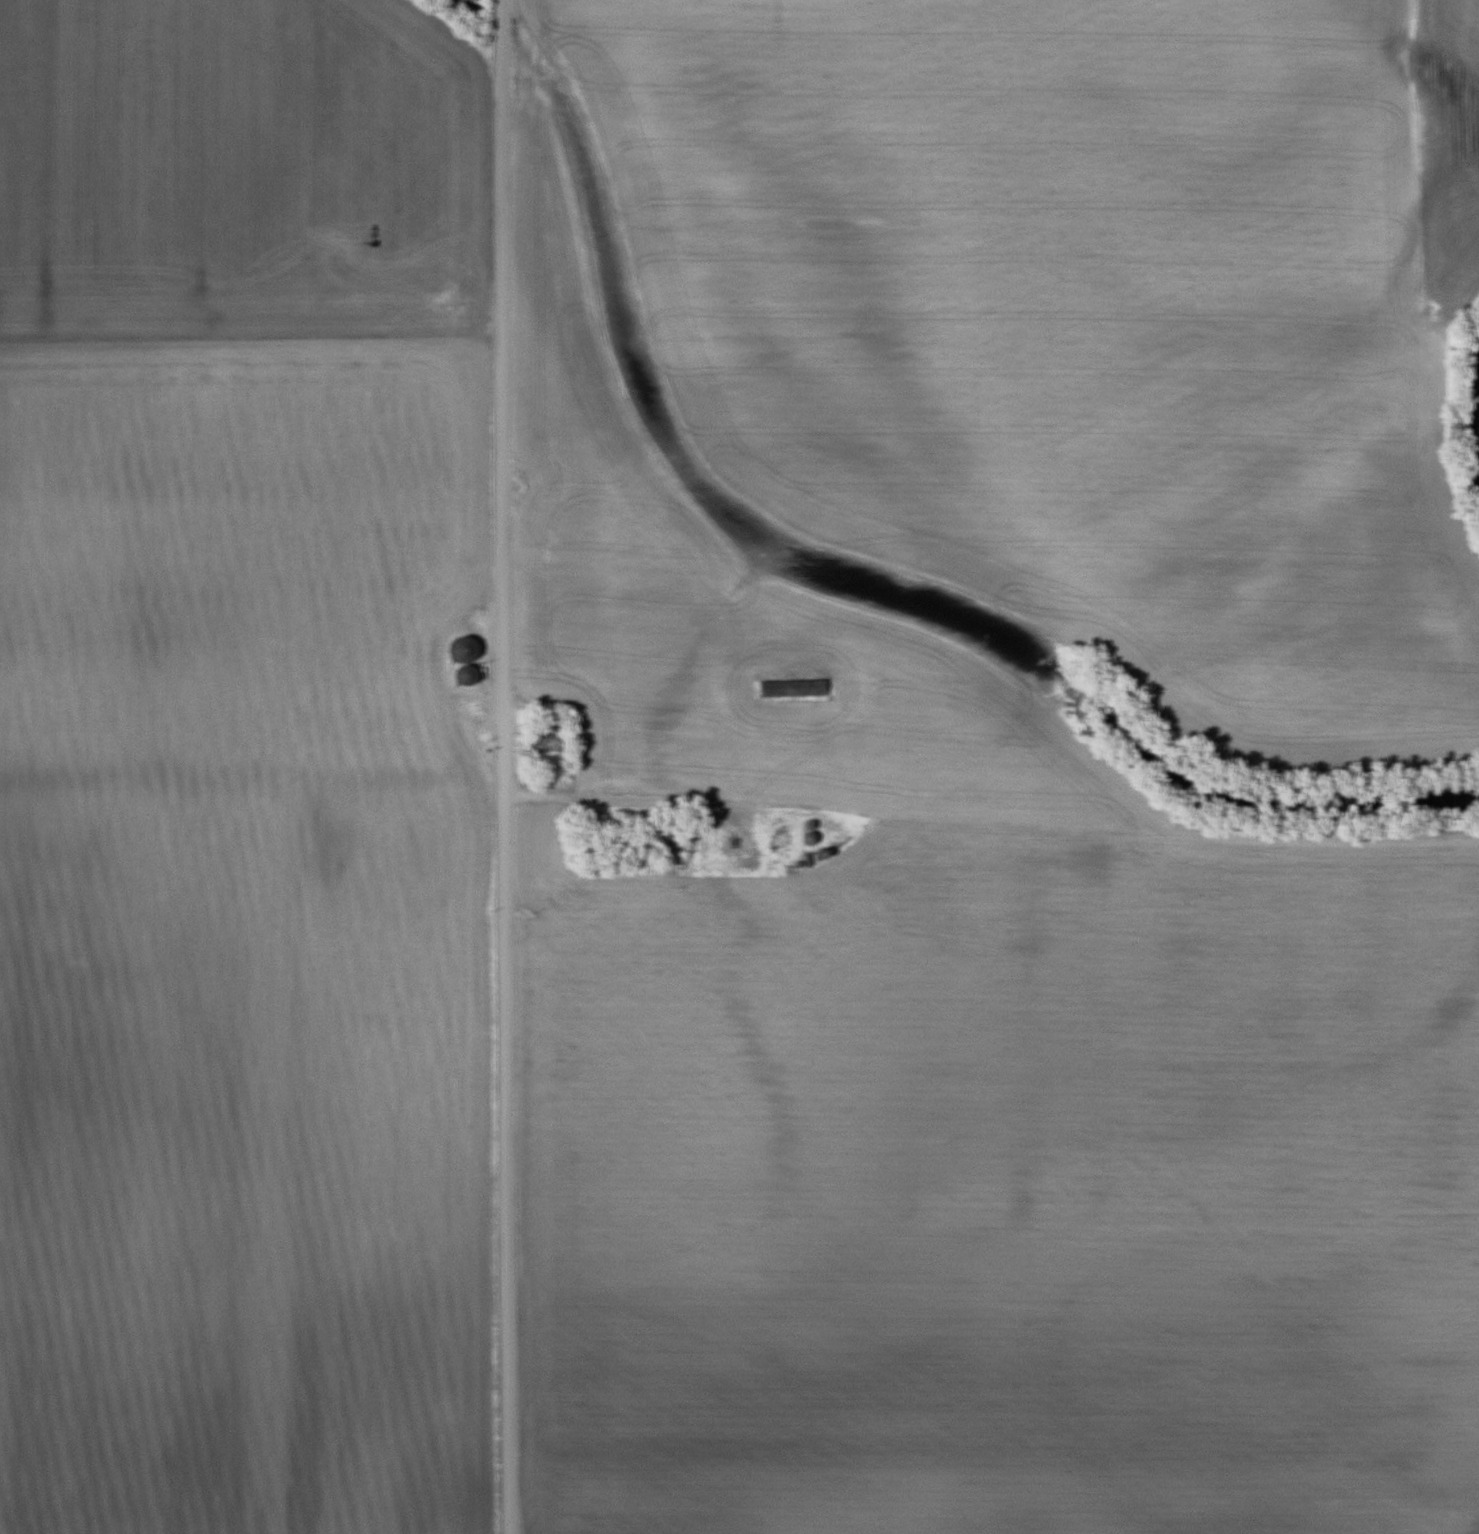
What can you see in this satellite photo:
building: (454, 650)
building: (786, 689)
road: (506, 767)
building: (778, 837)

